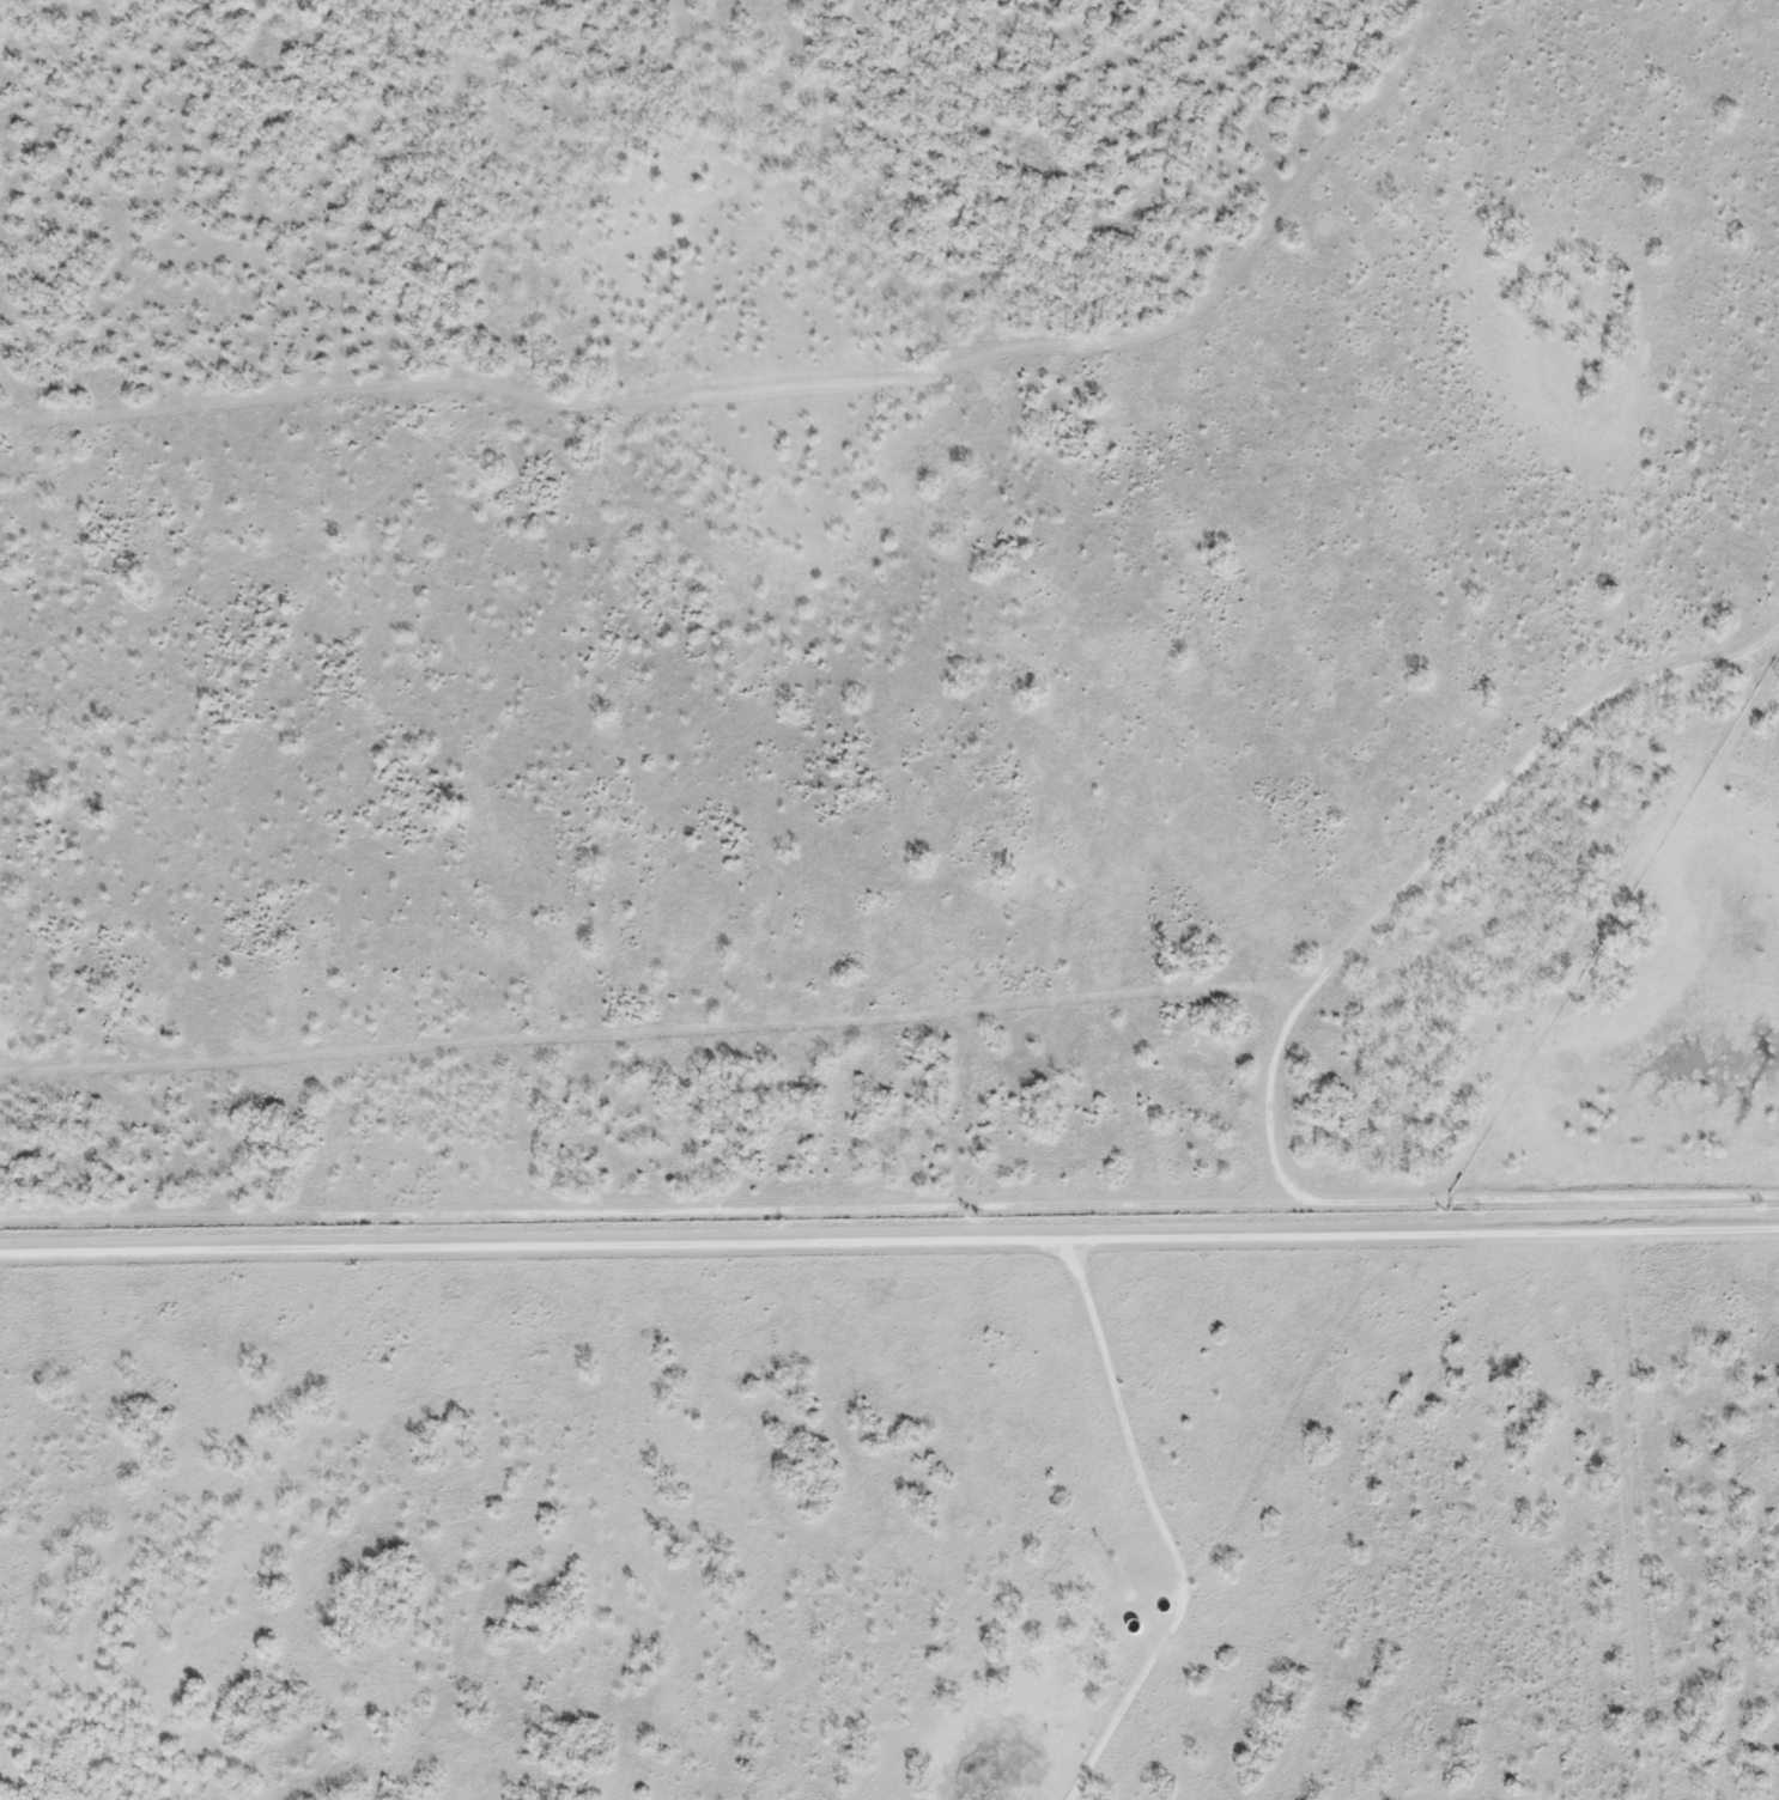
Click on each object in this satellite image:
road: (889, 1227)

